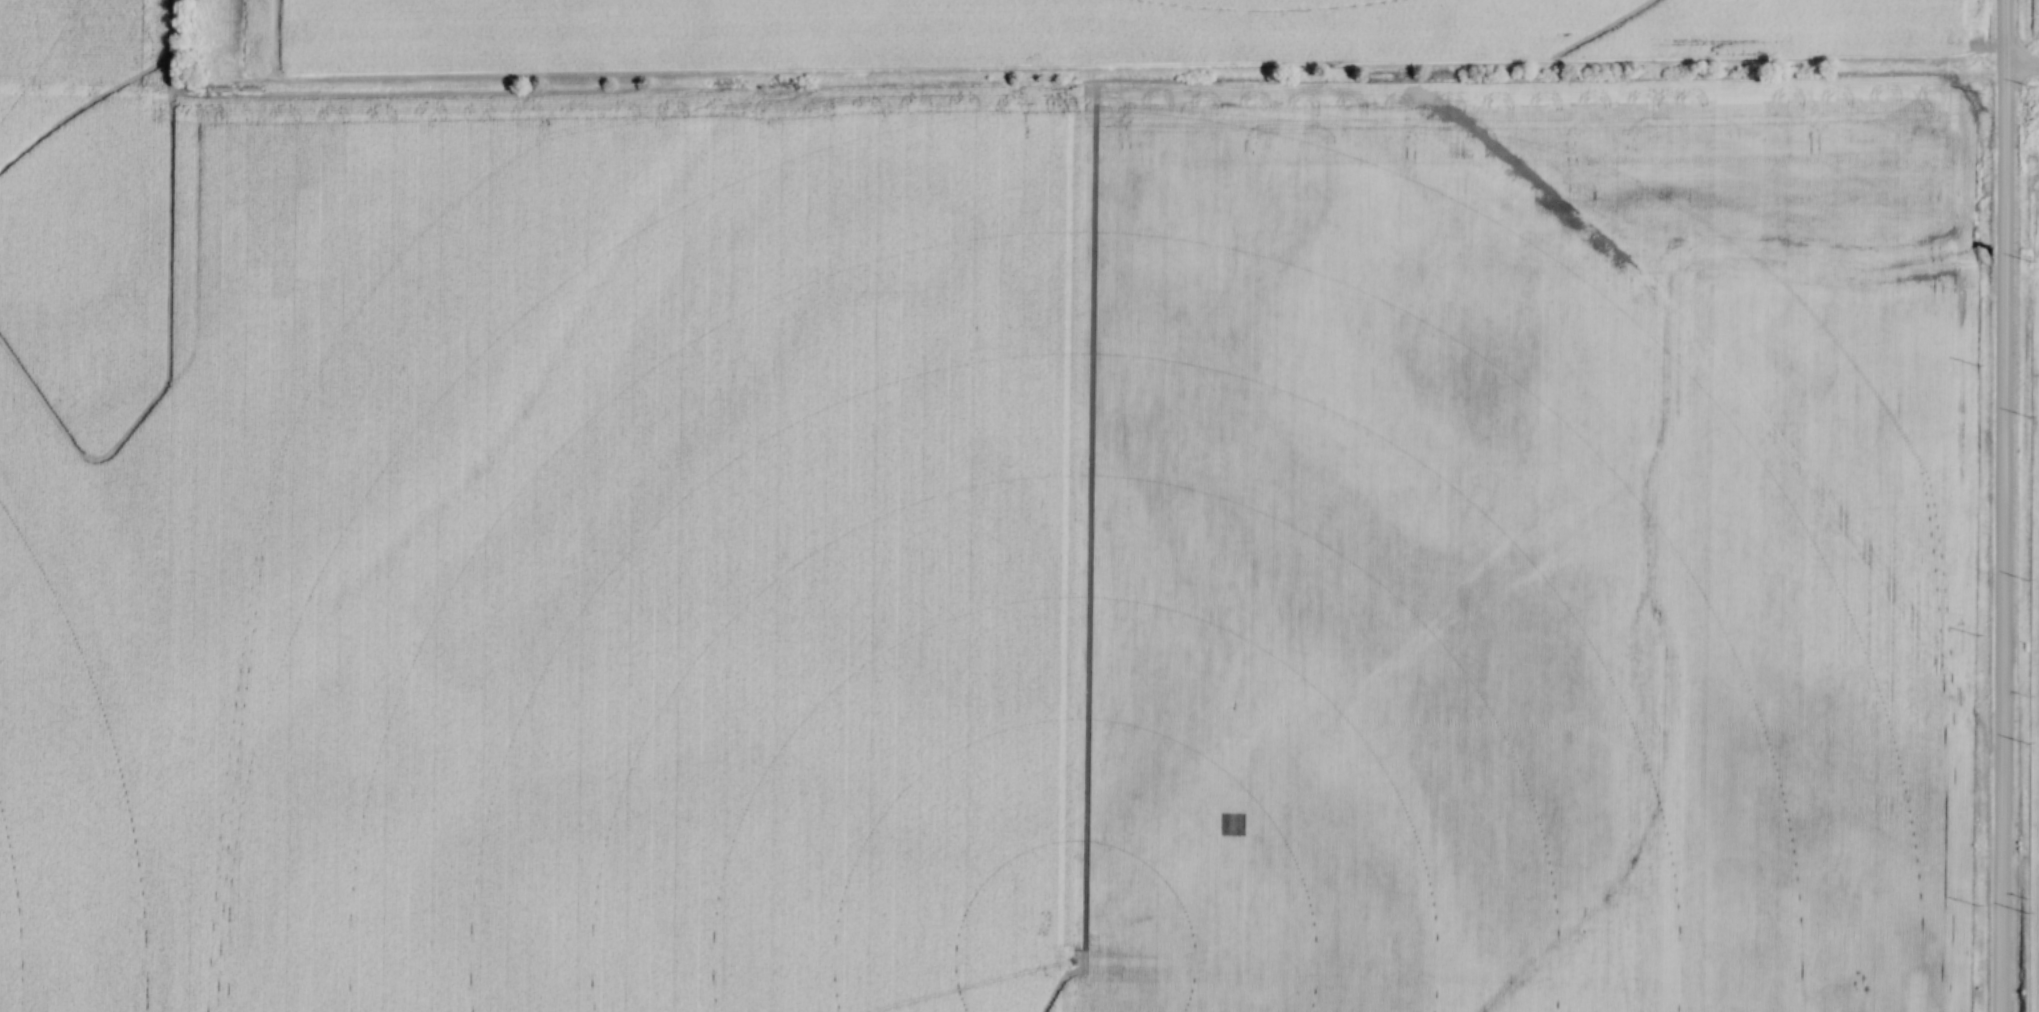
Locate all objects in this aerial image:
road: (2024, 55)
road: (2008, 506)

